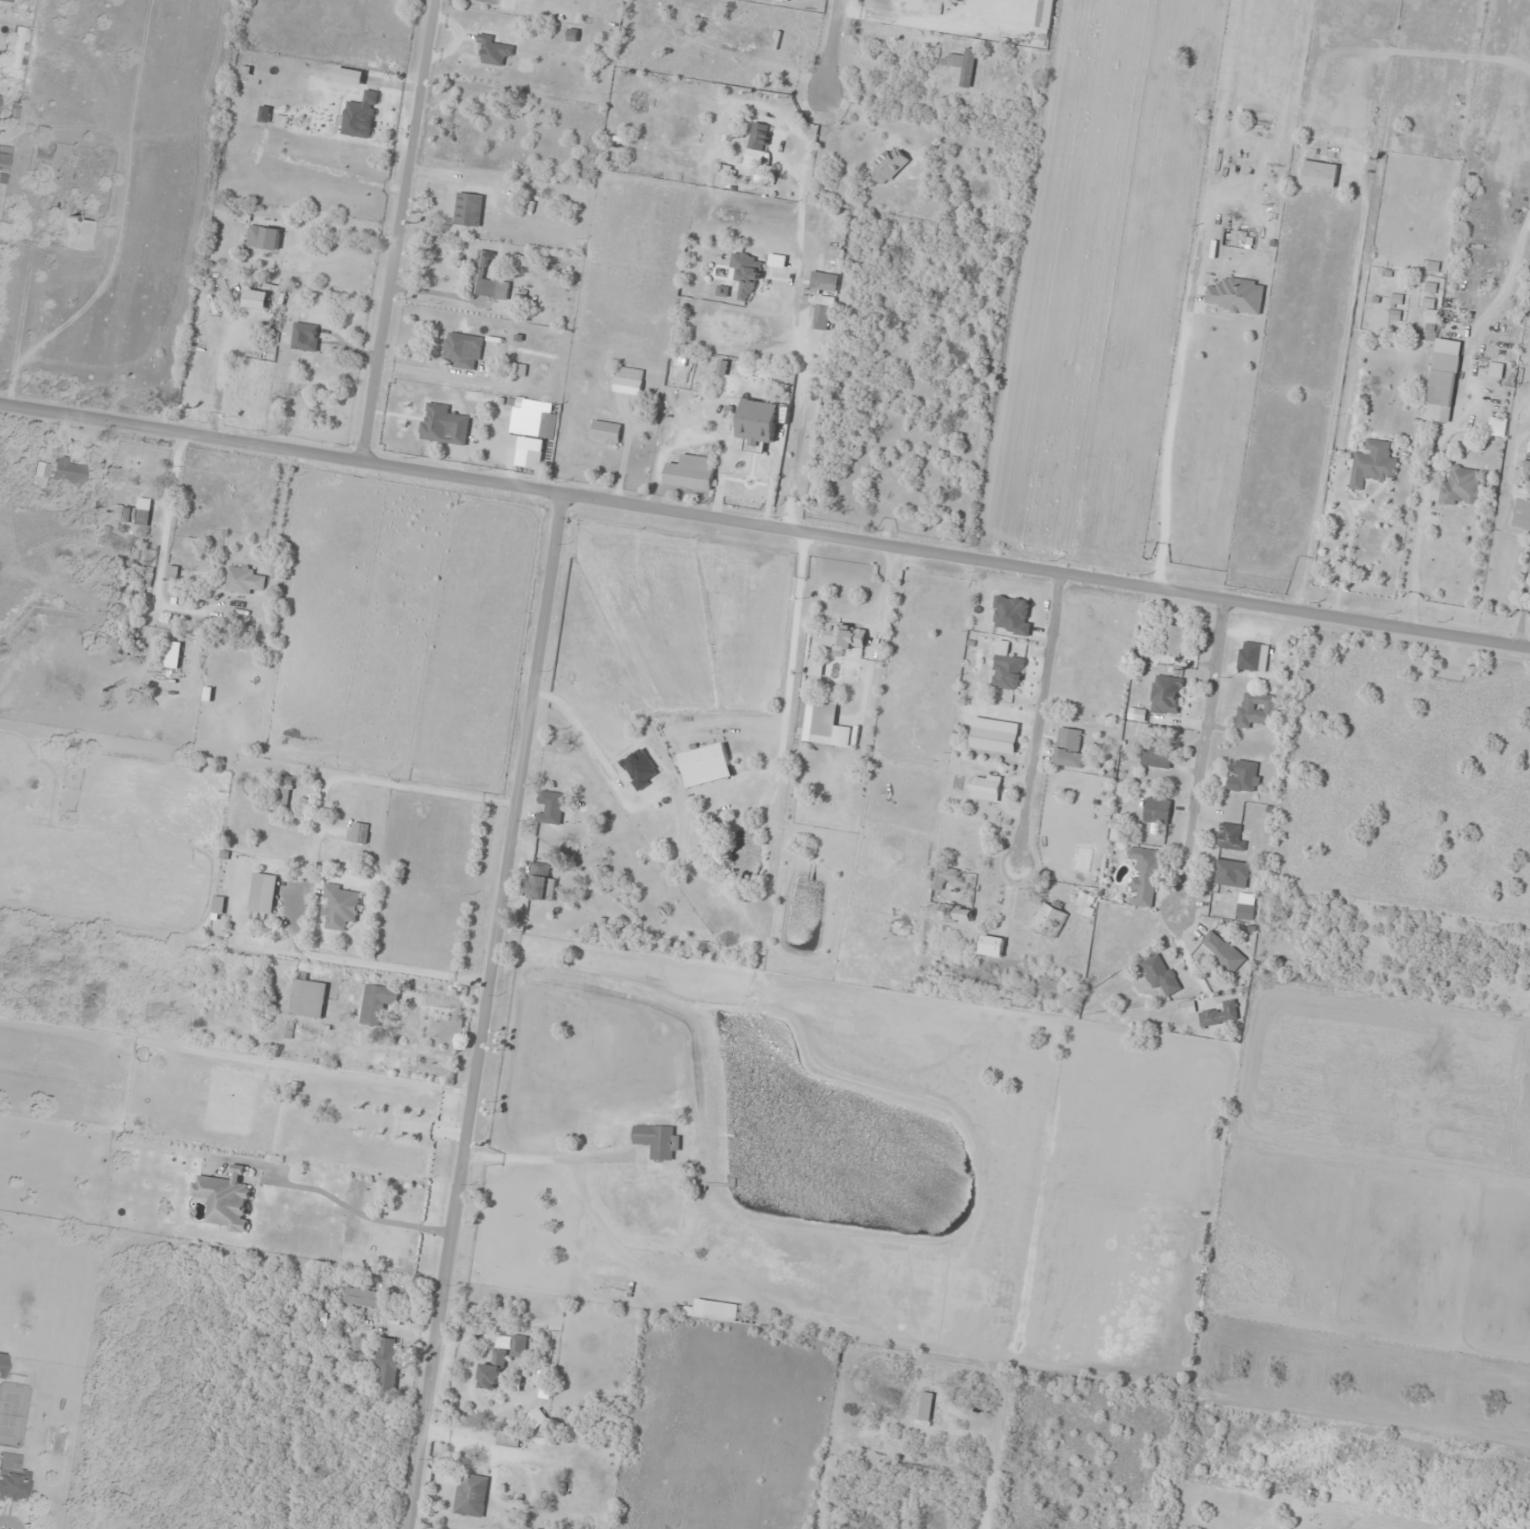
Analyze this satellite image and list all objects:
building: (6, 0)
road: (833, 47)
building: (15, 48)
building: (495, 49)
building: (962, 64)
building: (758, 143)
building: (41, 150)
building: (4, 157)
building: (889, 165)
building: (1320, 174)
building: (724, 175)
building: (768, 176)
building: (469, 209)
road: (397, 229)
building: (77, 234)
building: (264, 237)
building: (778, 260)
building: (747, 273)
building: (489, 278)
building: (1236, 295)
building: (822, 299)
building: (306, 336)
building: (464, 350)
building: (1496, 369)
building: (1441, 373)
building: (624, 379)
building: (690, 415)
building: (444, 424)
building: (548, 425)
building: (1497, 426)
building: (606, 432)
road: (281, 446)
building: (534, 459)
building: (744, 463)
building: (1372, 463)
building: (1527, 467)
building: (69, 470)
building: (691, 470)
building: (1461, 485)
building: (744, 487)
building: (1529, 488)
building: (131, 512)
road: (1046, 570)
building: (245, 579)
building: (845, 635)
building: (1174, 639)
building: (1253, 655)
building: (174, 658)
building: (814, 666)
building: (1166, 694)
building: (1257, 708)
building: (1136, 713)
road: (1037, 716)
building: (828, 725)
building: (1069, 747)
building: (1157, 755)
road: (1202, 756)
building: (706, 764)
building: (1243, 776)
building: (985, 786)
building: (284, 793)
building: (550, 807)
building: (1157, 810)
building: (358, 832)
building: (1231, 836)
building: (1231, 873)
building: (1144, 875)
building: (943, 876)
building: (540, 882)
building: (264, 892)
building: (1086, 903)
building: (219, 904)
building: (341, 905)
building: (1246, 906)
building: (956, 911)
building: (1049, 918)
building: (991, 945)
building: (1222, 950)
building: (1160, 973)
building: (308, 997)
building: (378, 1002)
building: (1186, 1006)
road: (482, 1011)
building: (1220, 1014)
building: (373, 1112)
building: (658, 1140)
road: (328, 1194)
building: (225, 1199)
building: (566, 1247)
building: (370, 1298)
building: (721, 1310)
building: (502, 1359)
building: (388, 1363)
building: (925, 1407)
building: (537, 1417)
building: (509, 1436)
building: (13, 1478)
building: (471, 1494)
building: (543, 1528)

